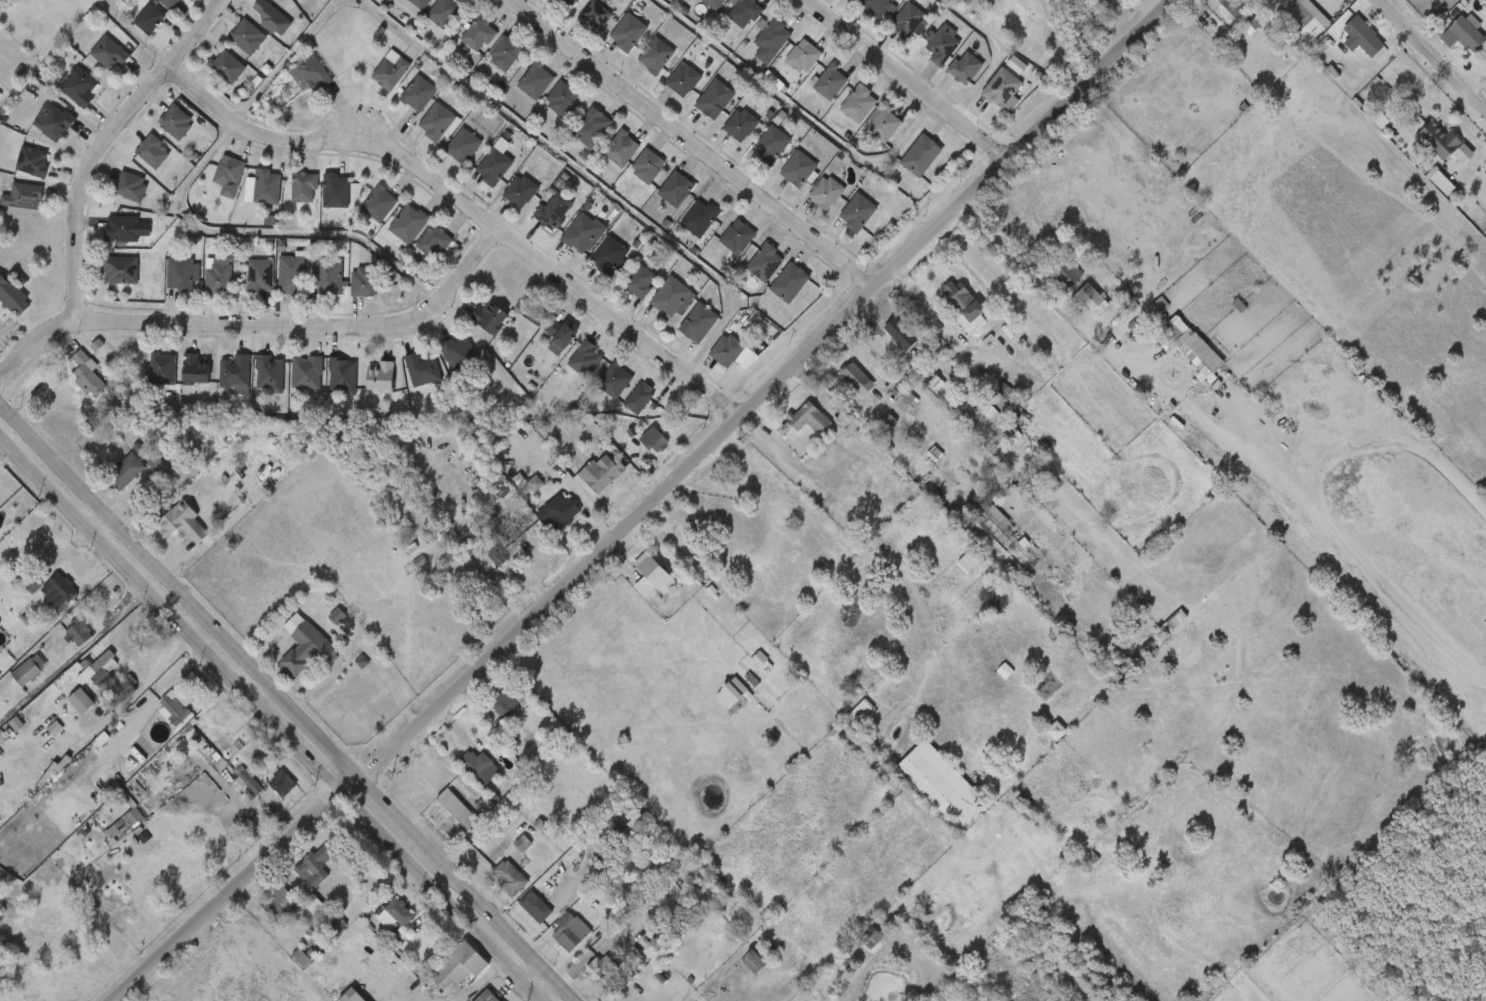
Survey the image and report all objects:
building: (288, 2)
building: (170, 3)
building: (571, 3)
building: (1258, 3)
building: (718, 4)
building: (418, 5)
building: (1106, 5)
building: (550, 6)
building: (152, 7)
building: (882, 7)
building: (399, 9)
building: (446, 12)
building: (748, 12)
building: (598, 14)
building: (1241, 14)
building: (151, 19)
building: (912, 20)
building: (425, 21)
building: (1304, 21)
building: (577, 25)
building: (253, 26)
building: (131, 29)
building: (630, 32)
building: (480, 34)
building: (1464, 34)
road: (129, 35)
building: (250, 37)
building: (1361, 37)
building: (773, 38)
building: (460, 45)
building: (229, 46)
building: (946, 46)
building: (110, 53)
building: (507, 53)
road: (1000, 54)
road: (1431, 55)
building: (658, 56)
building: (807, 56)
building: (91, 63)
building: (486, 64)
building: (638, 65)
building: (229, 67)
building: (969, 67)
building: (312, 71)
building: (393, 72)
building: (209, 76)
building: (686, 79)
building: (372, 80)
road: (905, 80)
building: (539, 81)
building: (833, 81)
building: (292, 83)
building: (79, 85)
building: (1007, 89)
building: (517, 91)
building: (420, 93)
building: (61, 96)
building: (562, 98)
building: (717, 99)
building: (400, 103)
building: (862, 104)
building: (543, 108)
road: (795, 115)
building: (175, 121)
building: (55, 122)
building: (439, 122)
building: (886, 124)
building: (744, 125)
building: (595, 127)
building: (35, 131)
building: (158, 131)
building: (420, 132)
building: (573, 136)
building: (1436, 140)
road: (100, 143)
road: (692, 144)
building: (774, 145)
building: (466, 146)
building: (624, 148)
building: (151, 151)
building: (445, 155)
building: (924, 155)
building: (603, 158)
building: (134, 161)
building: (34, 162)
building: (496, 166)
building: (651, 166)
building: (14, 170)
building: (803, 170)
building: (229, 171)
building: (477, 172)
road: (577, 175)
building: (211, 185)
building: (131, 186)
building: (305, 187)
building: (265, 188)
building: (677, 188)
building: (338, 191)
building: (523, 191)
building: (829, 193)
building: (22, 195)
building: (113, 196)
building: (246, 197)
building: (286, 197)
building: (318, 201)
building: (503, 201)
building: (382, 203)
building: (12, 206)
road: (460, 208)
building: (555, 213)
building: (861, 213)
building: (361, 214)
road: (182, 218)
building: (704, 219)
building: (535, 221)
building: (412, 224)
building: (121, 228)
building: (390, 233)
building: (586, 233)
building: (740, 237)
building: (107, 239)
building: (436, 243)
building: (566, 243)
building: (415, 251)
building: (612, 257)
building: (768, 263)
building: (592, 265)
building: (184, 274)
building: (293, 274)
building: (220, 276)
building: (262, 276)
building: (1059, 276)
building: (330, 277)
building: (103, 279)
building: (641, 281)
building: (366, 282)
building: (793, 282)
building: (165, 283)
building: (274, 283)
building: (200, 285)
building: (241, 286)
road: (1044, 286)
building: (310, 287)
building: (345, 292)
building: (13, 295)
building: (673, 296)
building: (1089, 300)
building: (962, 307)
building: (4, 313)
building: (491, 318)
building: (699, 322)
building: (472, 327)
road: (301, 330)
building: (899, 331)
building: (565, 334)
road: (33, 342)
building: (542, 346)
building: (1190, 346)
building: (733, 352)
building: (462, 354)
building: (587, 359)
building: (441, 363)
building: (567, 368)
building: (164, 369)
building: (423, 369)
building: (196, 370)
building: (309, 372)
building: (272, 373)
building: (88, 375)
building: (344, 375)
building: (237, 376)
building: (383, 377)
building: (144, 379)
building: (178, 379)
building: (405, 379)
building: (860, 380)
building: (618, 381)
building: (289, 382)
building: (69, 383)
building: (252, 383)
building: (218, 384)
building: (325, 385)
building: (364, 386)
building: (1007, 398)
building: (642, 399)
building: (811, 421)
building: (652, 437)
building: (158, 464)
building: (128, 472)
building: (604, 474)
building: (108, 481)
building: (583, 483)
road: (647, 506)
building: (564, 513)
building: (543, 520)
building: (186, 522)
road: (90, 523)
building: (166, 533)
building: (534, 544)
building: (974, 560)
building: (658, 573)
building: (57, 591)
building: (14, 593)
building: (41, 600)
building: (319, 625)
building: (78, 632)
building: (60, 642)
building: (307, 647)
building: (287, 656)
building: (761, 660)
building: (99, 668)
building: (28, 672)
building: (82, 679)
building: (9, 681)
building: (734, 695)
building: (507, 701)
road: (125, 702)
building: (173, 703)
road: (285, 706)
building: (63, 710)
building: (864, 711)
building: (488, 712)
building: (154, 714)
road: (265, 725)
building: (1054, 729)
building: (477, 763)
building: (457, 772)
building: (284, 782)
building: (945, 783)
building: (231, 789)
building: (264, 793)
building: (460, 808)
building: (439, 818)
building: (132, 819)
building: (317, 866)
building: (296, 876)
building: (513, 878)
building: (492, 886)
building: (290, 907)
building: (539, 907)
building: (259, 912)
building: (400, 916)
building: (518, 916)
building: (377, 924)
building: (572, 932)
building: (873, 937)
building: (552, 940)
building: (759, 960)
building: (282, 966)
building: (463, 966)
building: (600, 967)
building: (440, 975)
road: (478, 982)
road: (536, 985)
road: (366, 993)
building: (355, 996)
building: (490, 997)
building: (333, 999)
road: (450, 999)
building: (469, 999)

